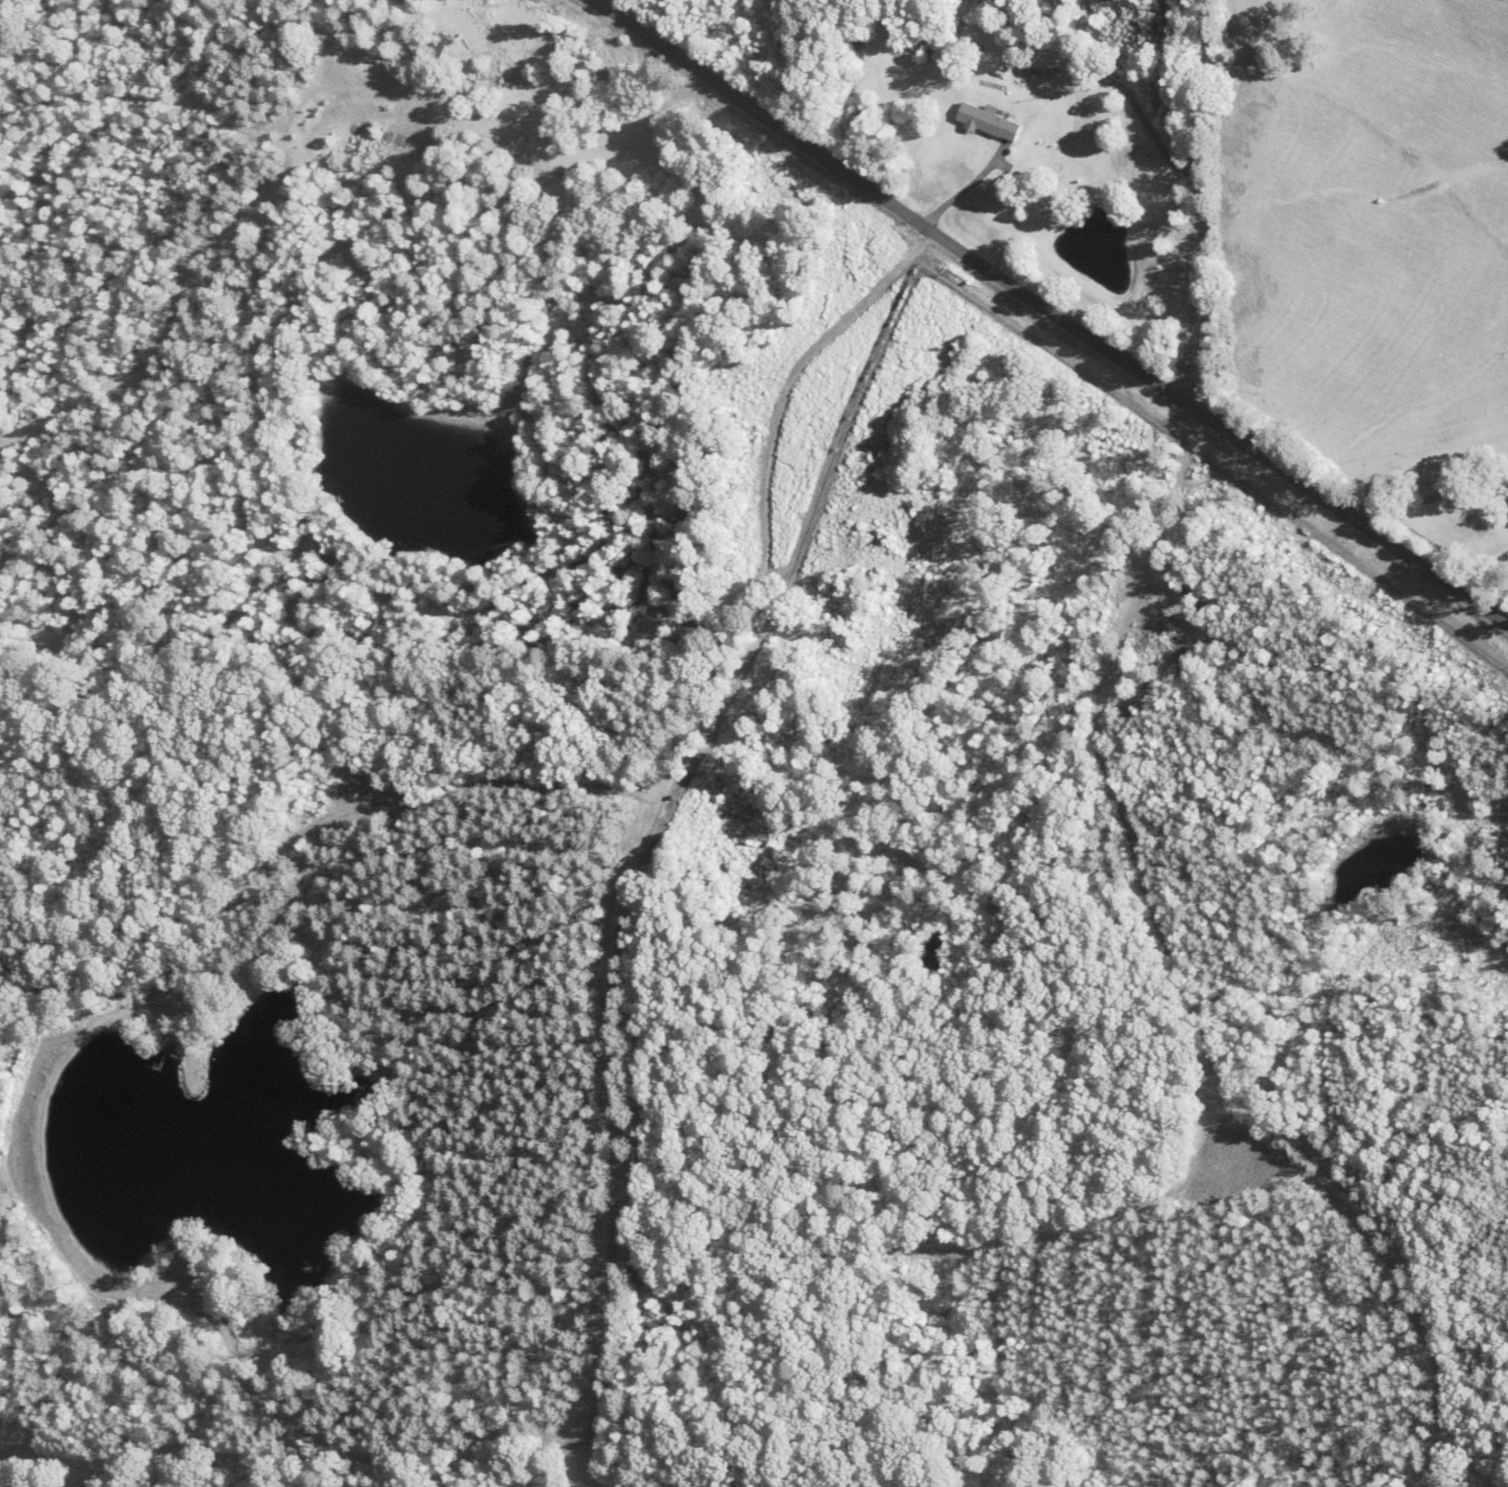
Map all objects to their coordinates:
building: (439, 43)
building: (602, 79)
building: (990, 121)
road: (1203, 202)
road: (1050, 307)
road: (761, 510)
road: (1183, 975)
building: (516, 1485)

